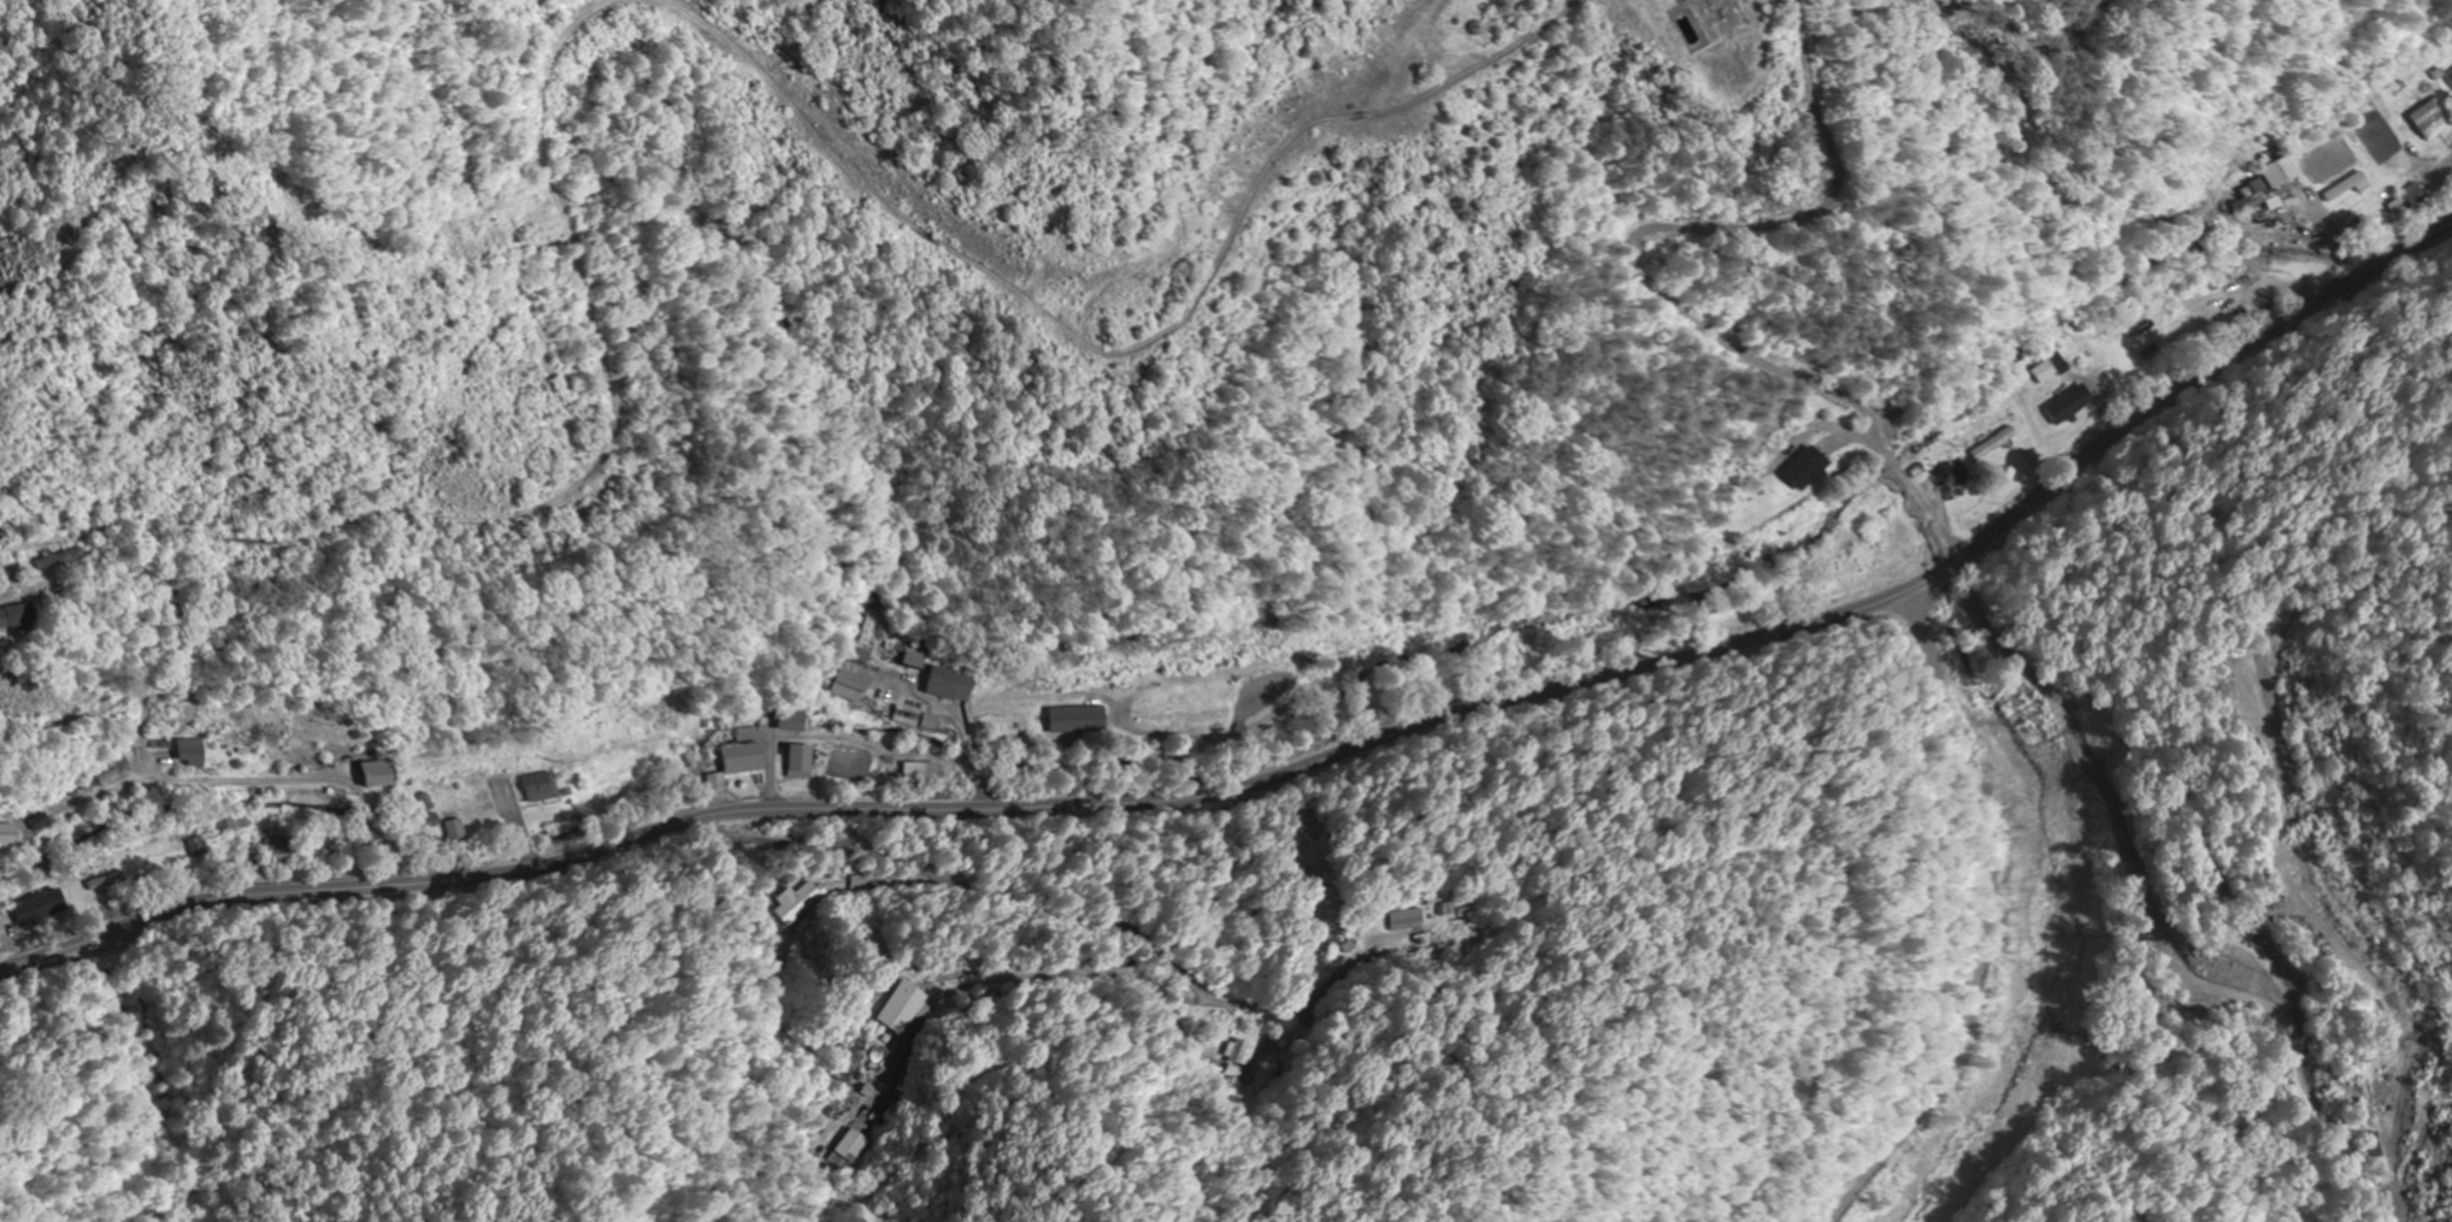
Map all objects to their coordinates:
building: (1726, 17)
building: (2435, 120)
building: (2274, 184)
building: (2348, 187)
building: (2415, 194)
building: (2071, 405)
building: (1997, 443)
building: (1815, 471)
building: (1956, 478)
building: (64, 559)
building: (23, 616)
building: (913, 660)
building: (850, 684)
building: (950, 685)
building: (908, 716)
building: (1078, 720)
building: (931, 721)
building: (797, 742)
building: (193, 754)
building: (742, 761)
building: (379, 774)
road: (1283, 774)
building: (110, 775)
building: (920, 775)
building: (542, 789)
building: (41, 822)
building: (453, 832)
building: (10, 838)
building: (279, 851)
building: (40, 908)
building: (903, 1008)
building: (1237, 1052)
building: (849, 1145)

